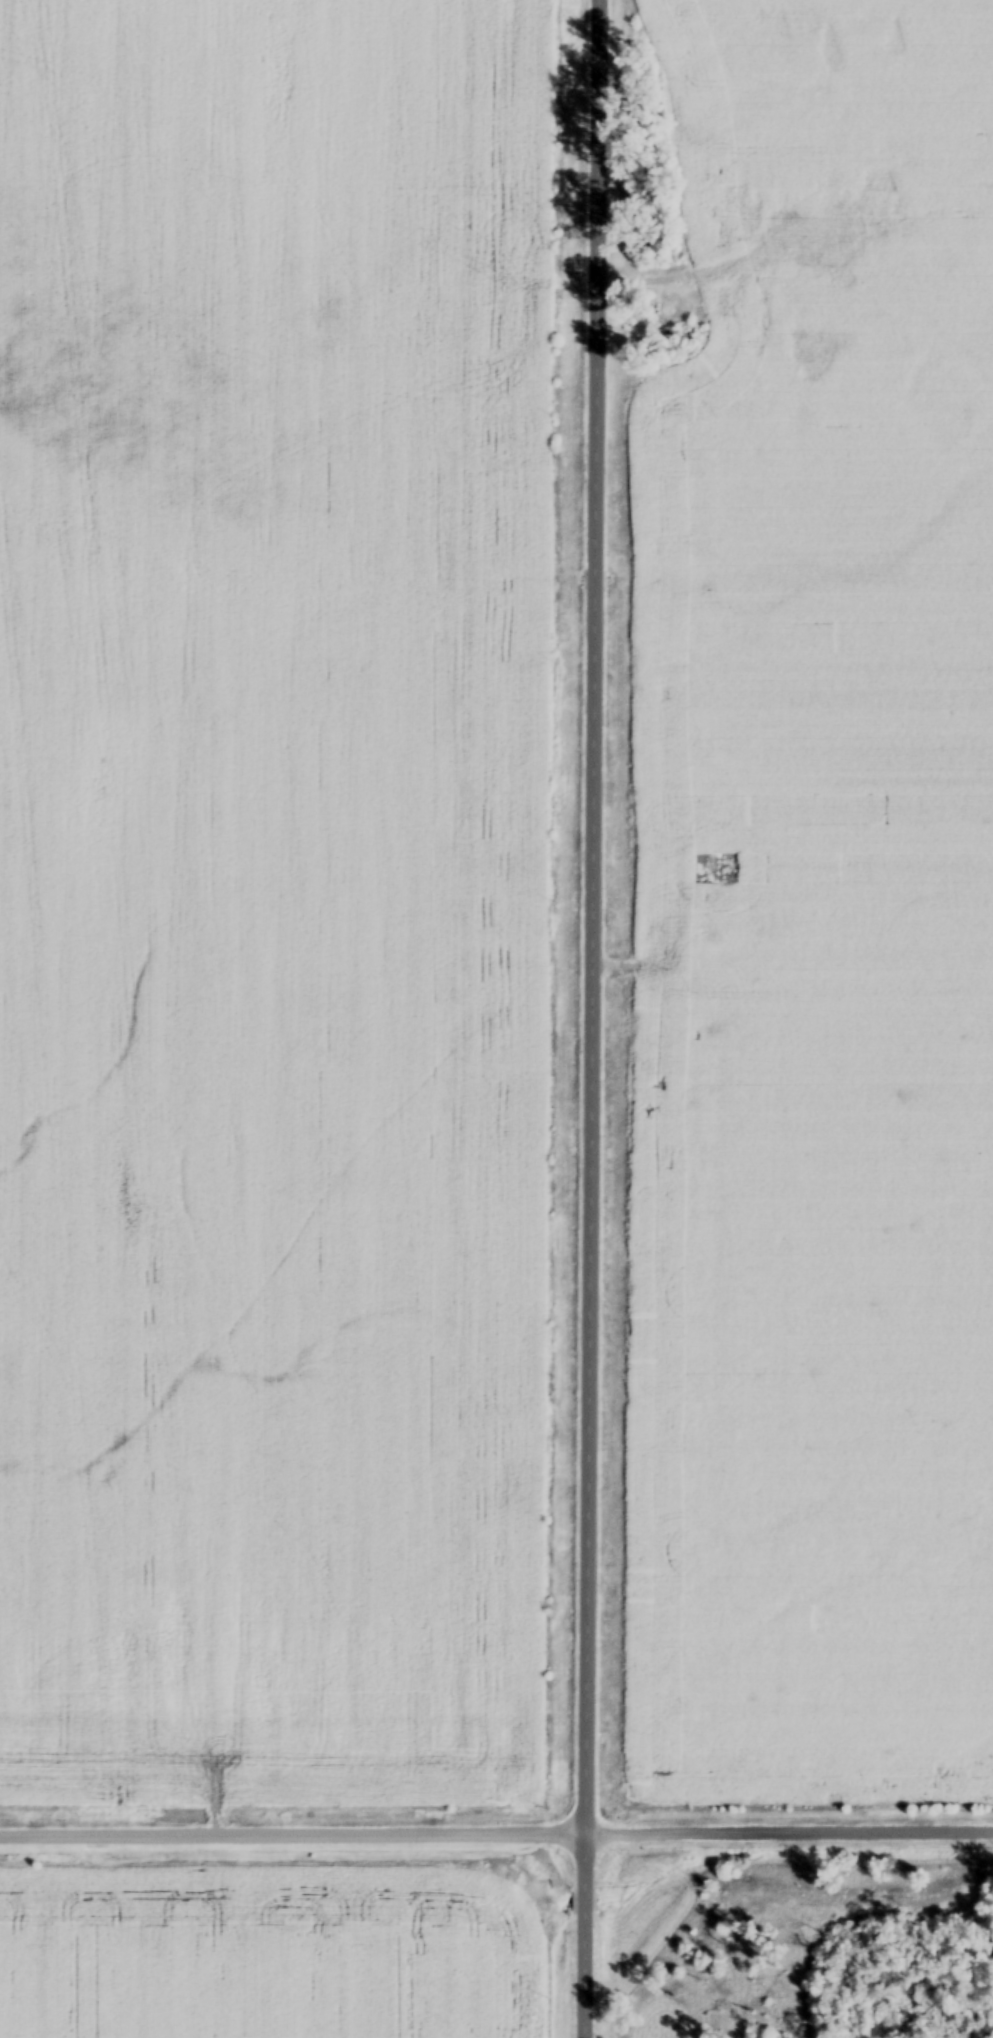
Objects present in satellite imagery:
building: (893, 148)
road: (791, 220)
building: (744, 221)
road: (683, 271)
building: (742, 305)
building: (724, 869)
road: (590, 1018)
road: (496, 1831)

